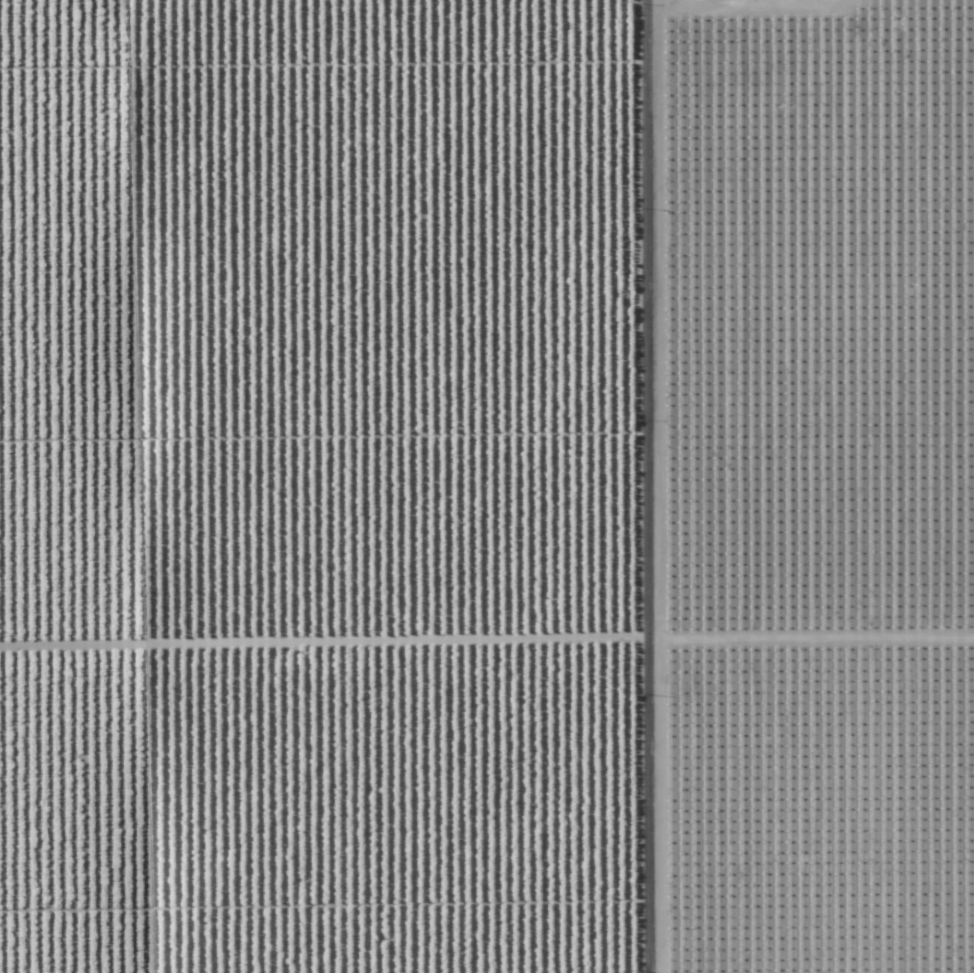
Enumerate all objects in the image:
road: (636, 486)

